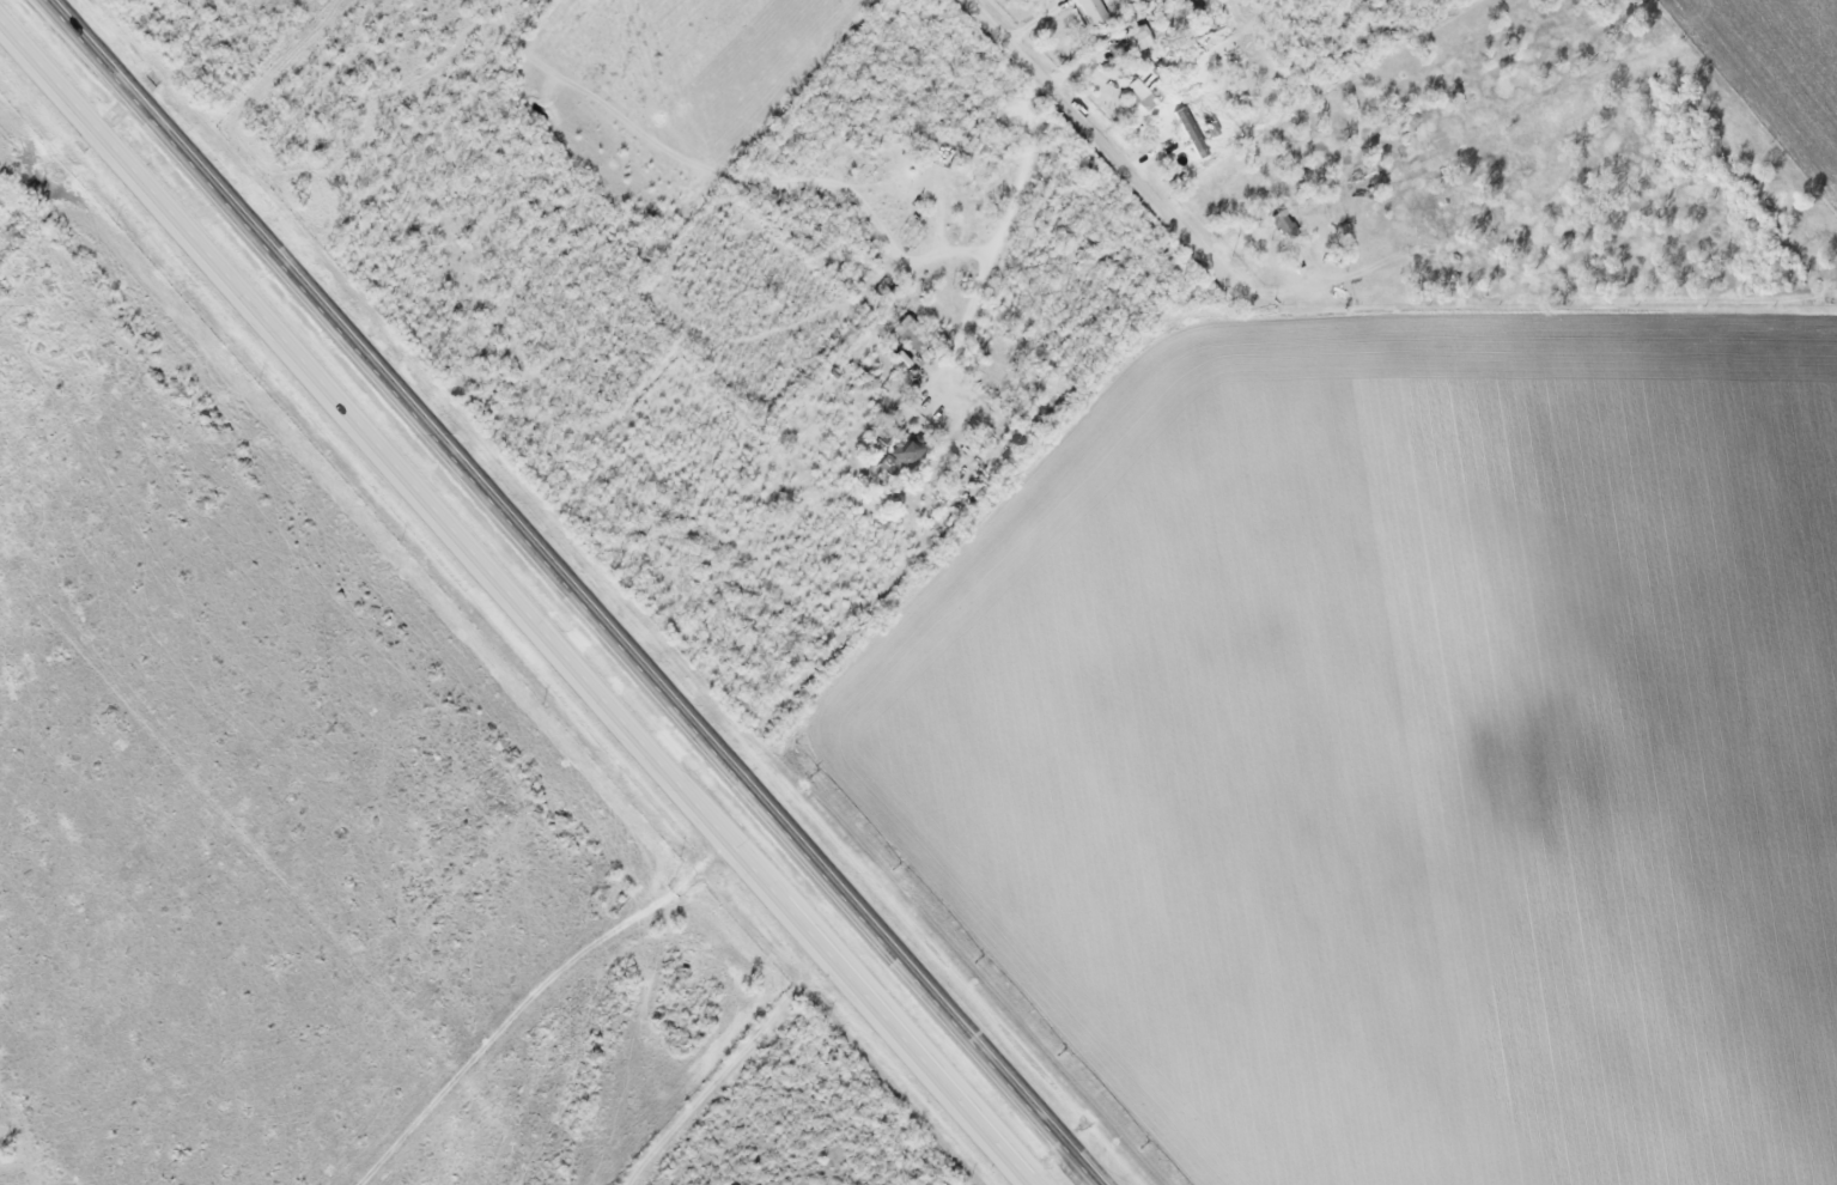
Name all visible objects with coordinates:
building: (1094, 11)
building: (1140, 36)
building: (1146, 87)
road: (1101, 142)
building: (1284, 224)
building: (912, 335)
building: (908, 448)
road: (579, 591)
road: (516, 603)
road: (726, 1069)
road: (1069, 1172)

